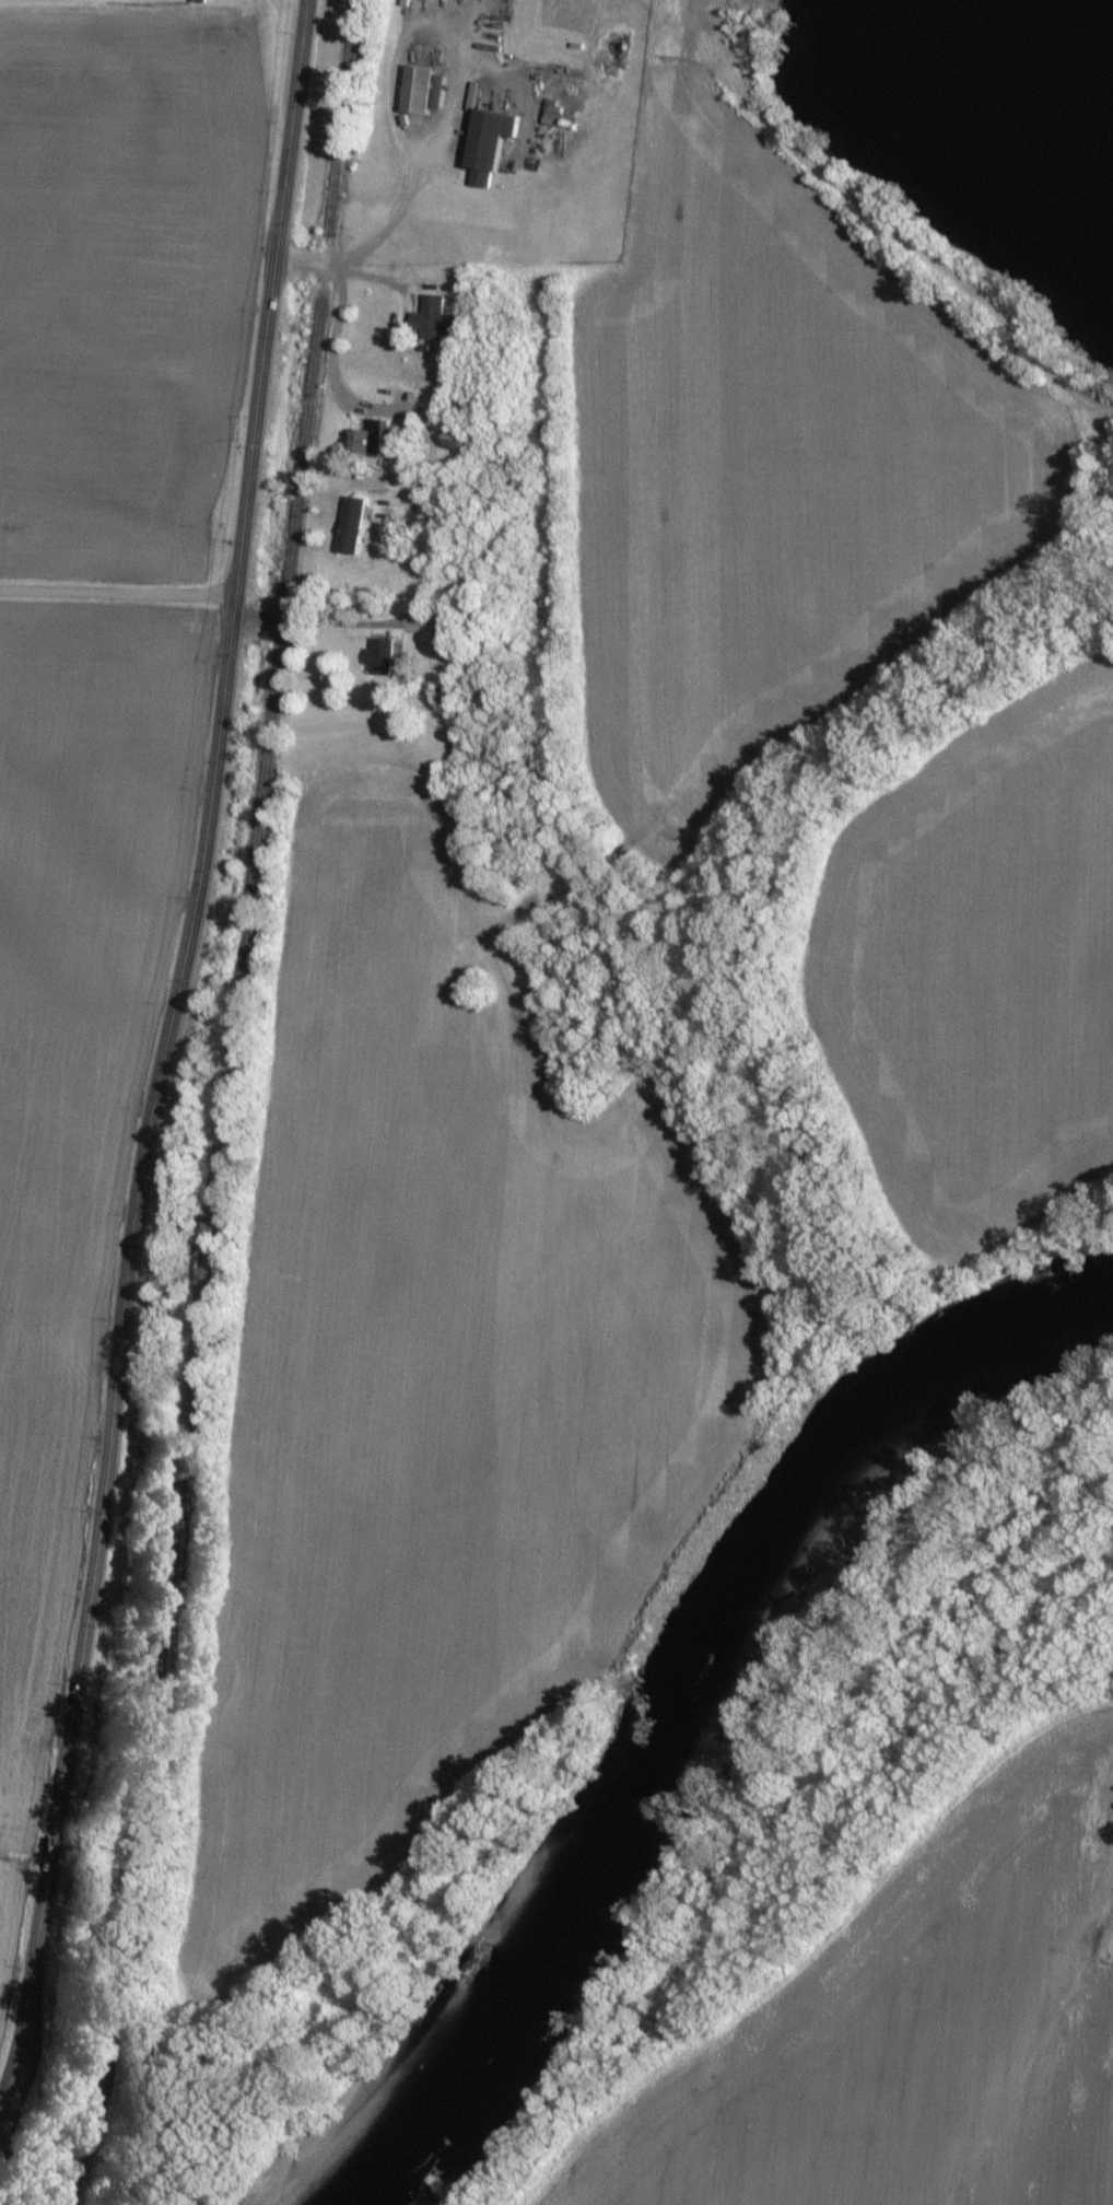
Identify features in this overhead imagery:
road: (456, 80)
building: (418, 90)
building: (556, 117)
building: (487, 144)
building: (433, 318)
building: (371, 437)
road: (430, 466)
building: (349, 525)
road: (116, 591)
road: (161, 1052)
railway: (226, 1105)
river: (702, 1718)

